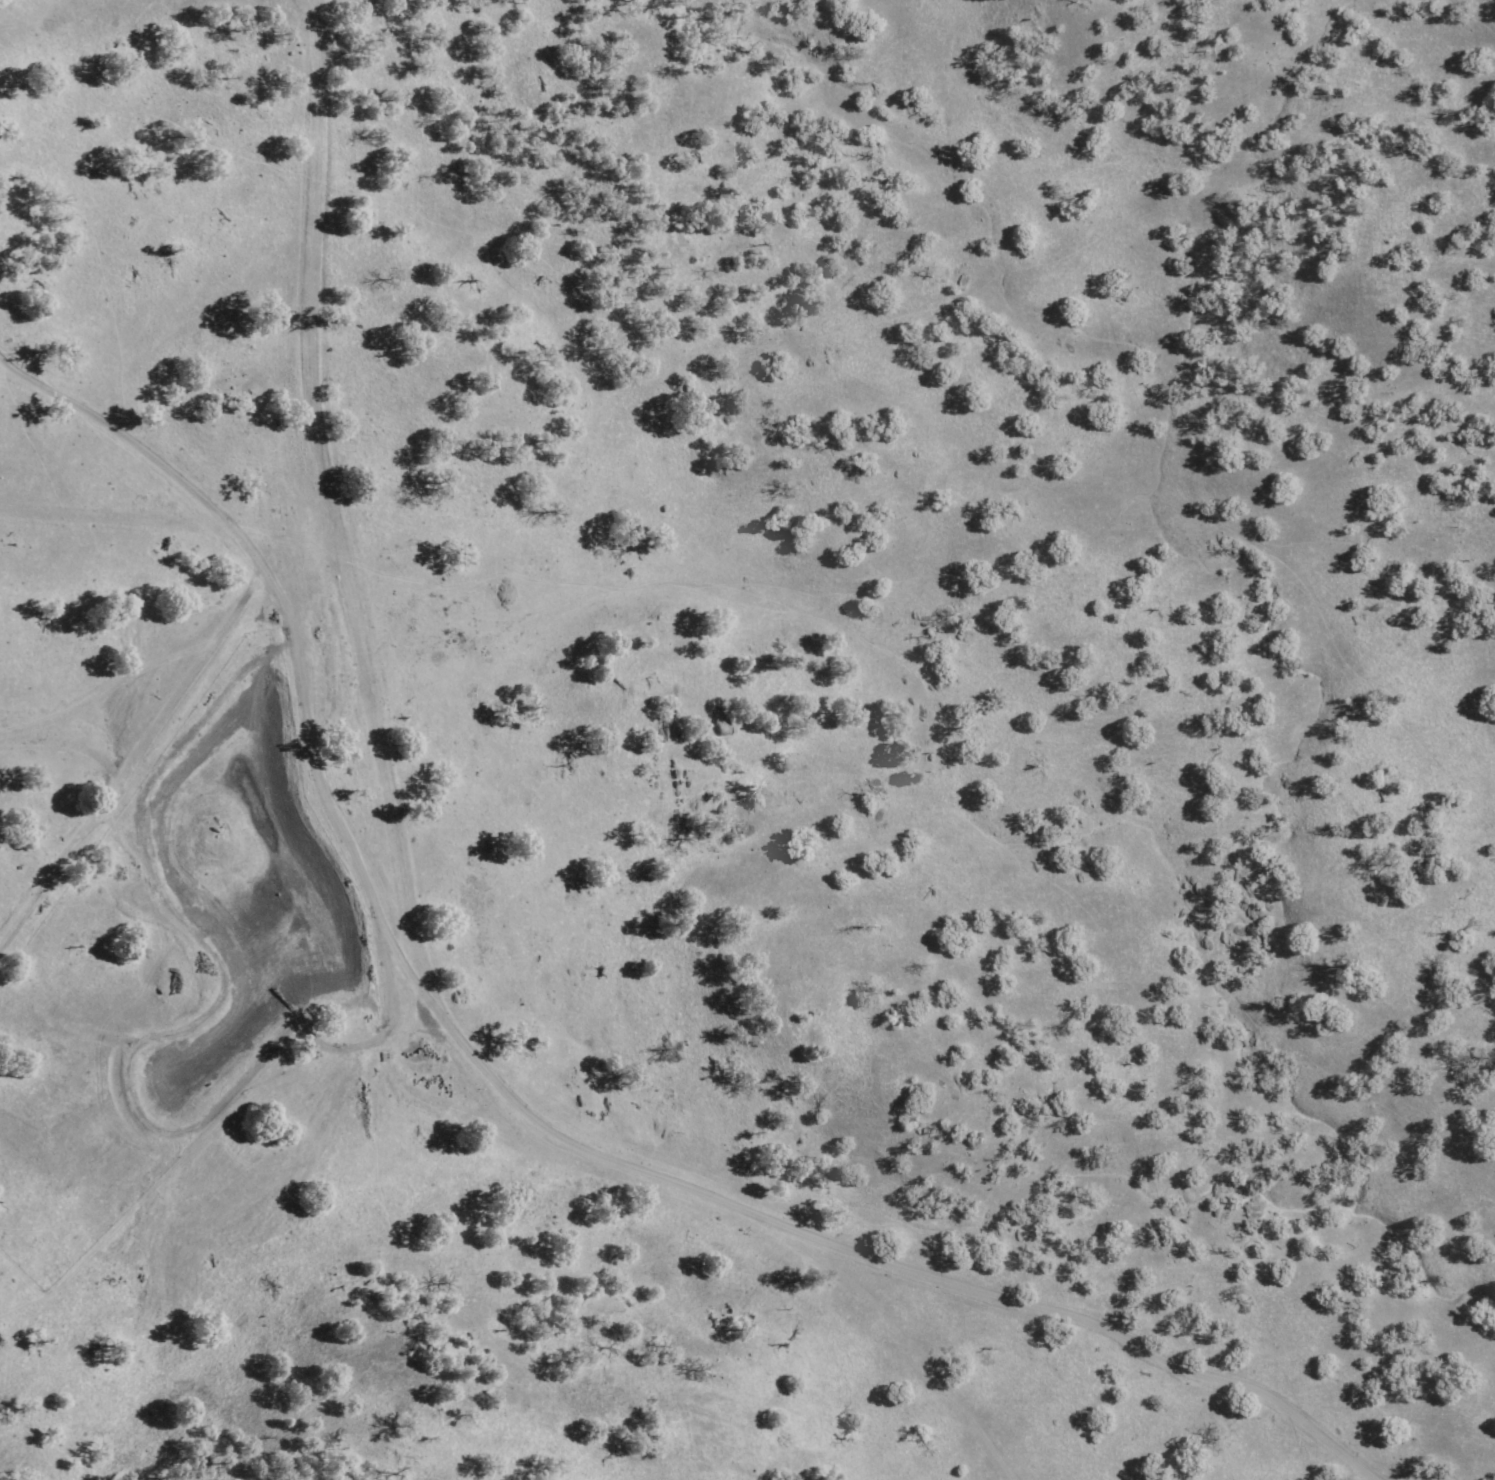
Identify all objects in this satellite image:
road: (150, 799)
road: (550, 1148)

